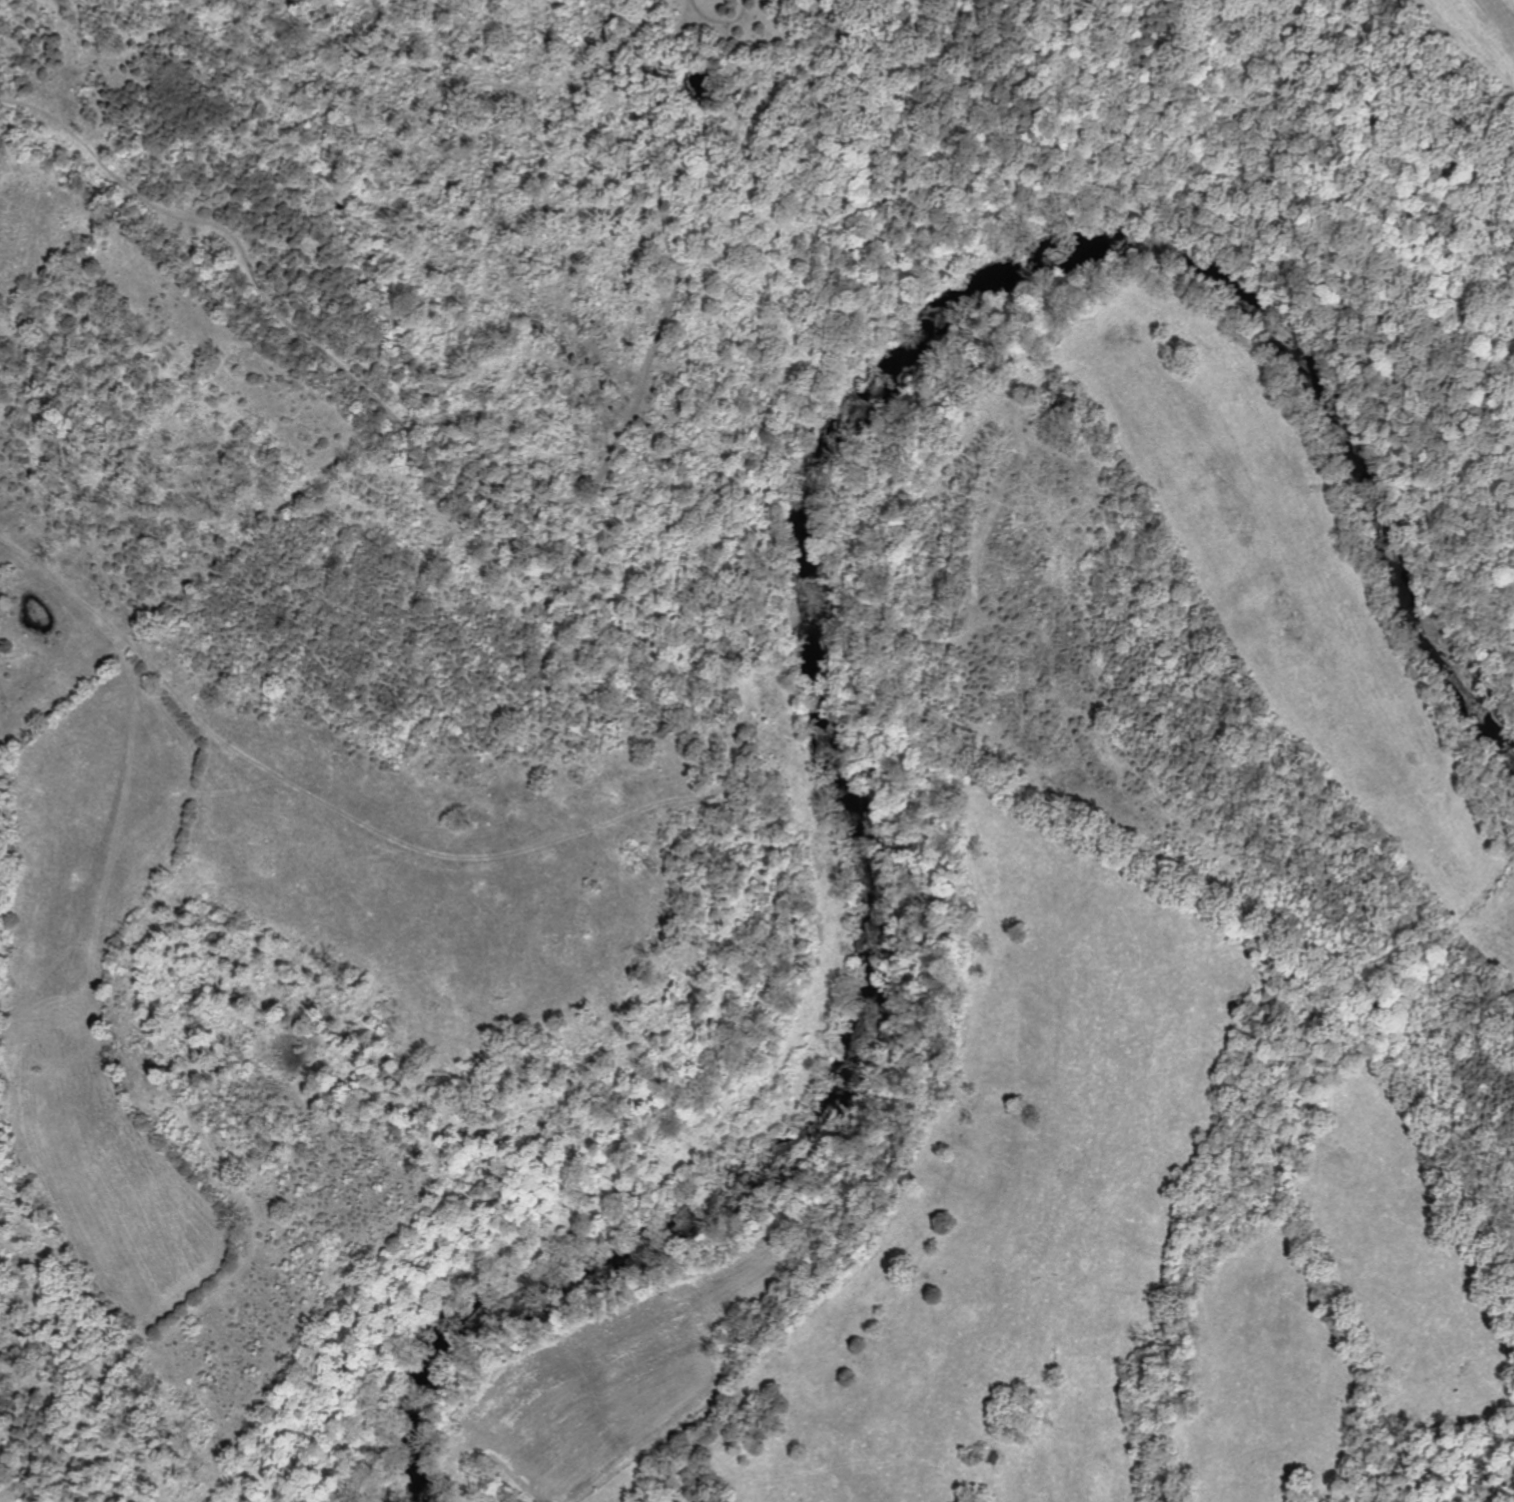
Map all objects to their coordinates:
road: (1503, 14)
road: (358, 445)

